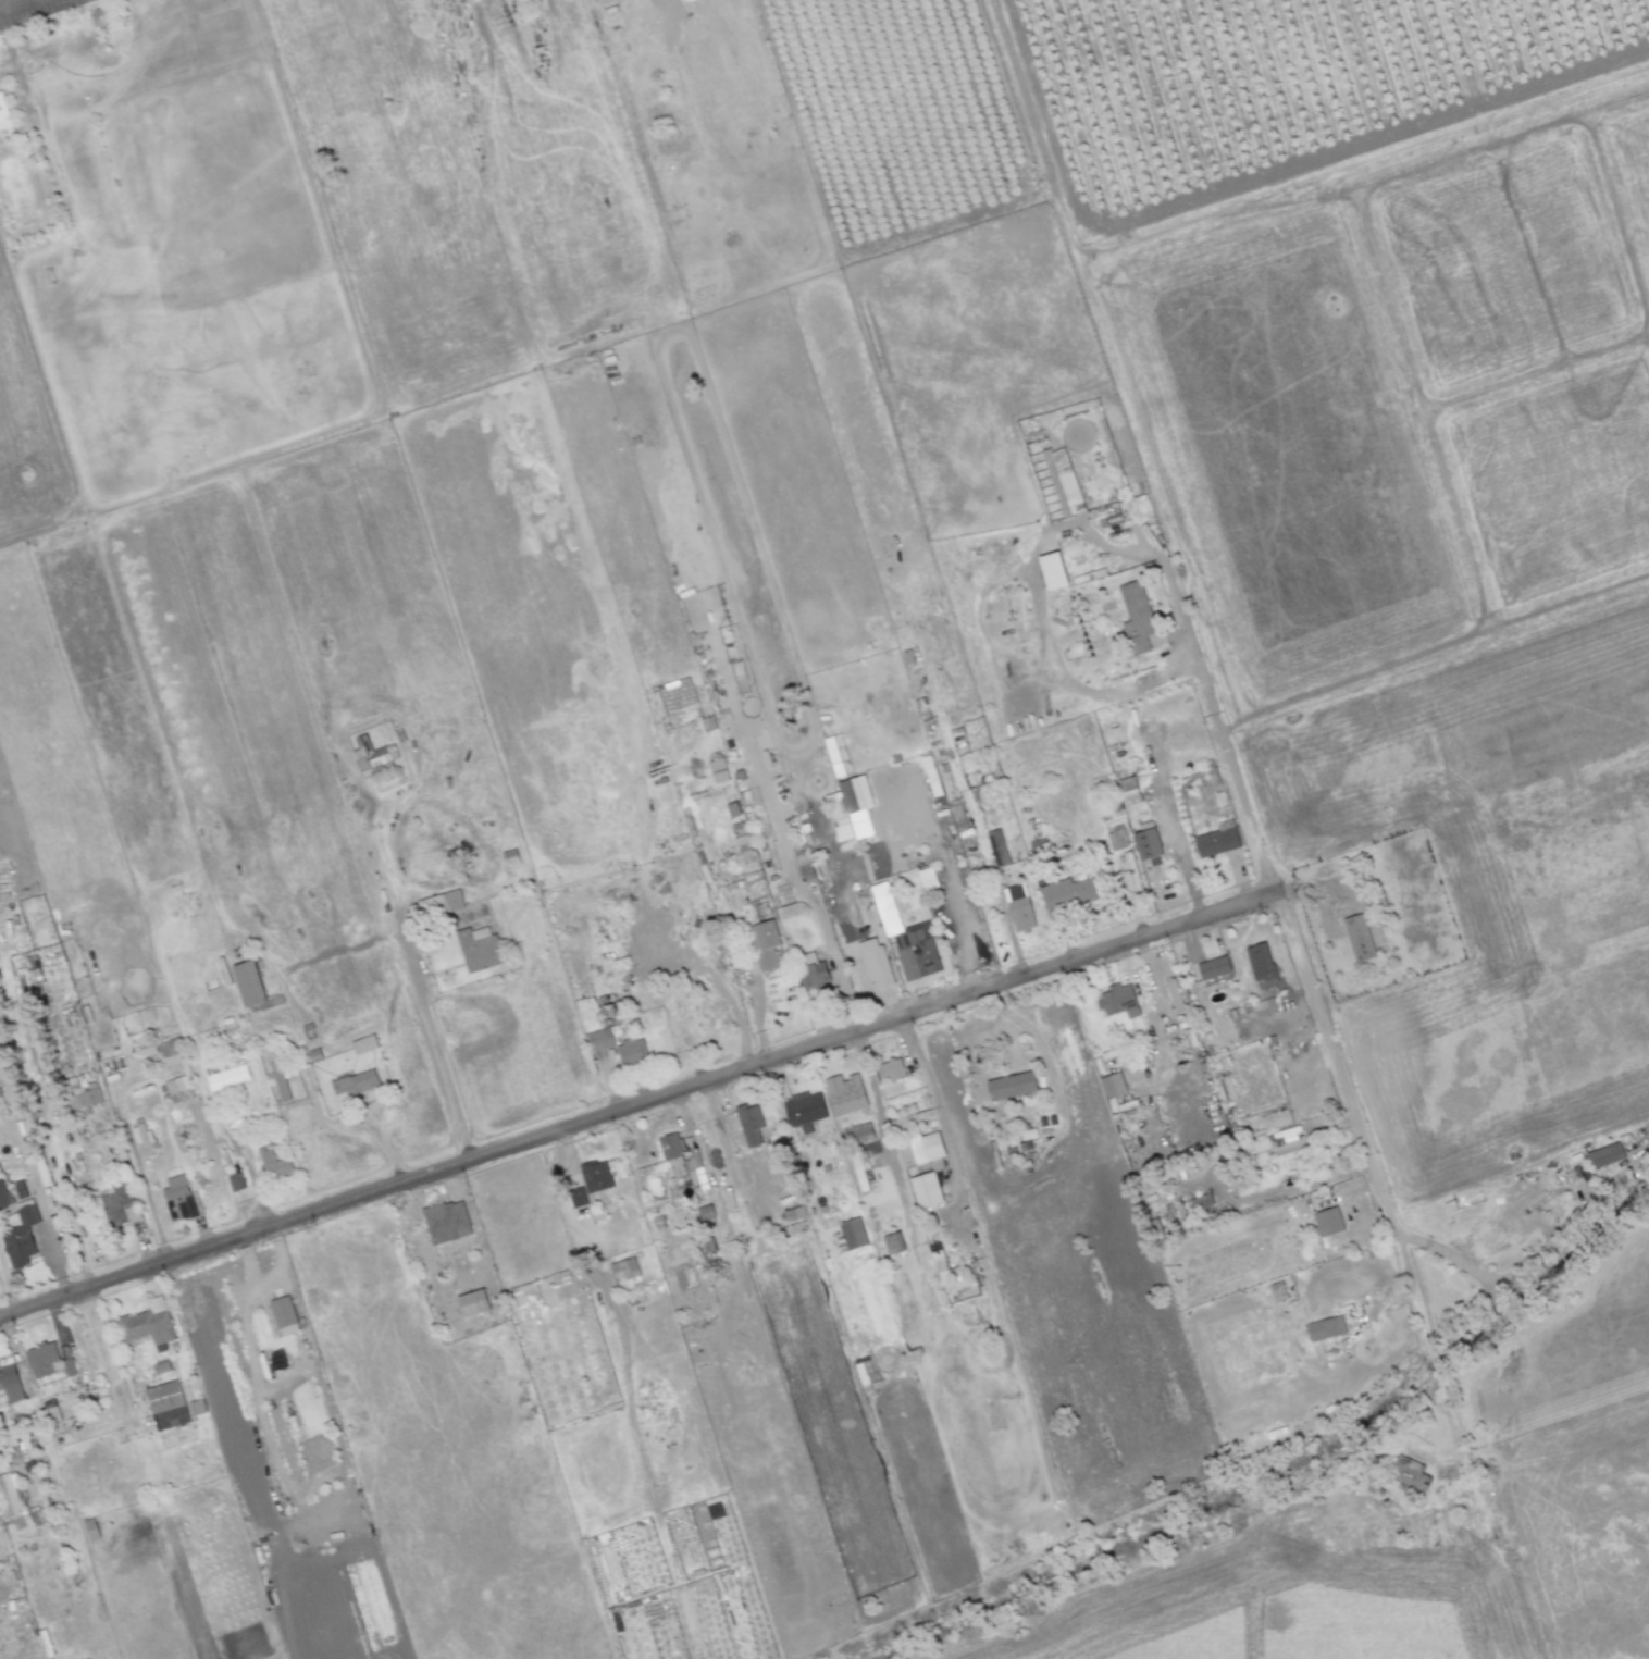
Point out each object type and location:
road: (15, 4)
railway: (1595, 280)
building: (1063, 481)
building: (1053, 571)
building: (1136, 617)
road: (1217, 730)
building: (377, 758)
building: (718, 770)
building: (1128, 791)
building: (861, 807)
building: (1124, 837)
building: (1115, 841)
building: (1218, 842)
building: (743, 846)
building: (1148, 846)
building: (1000, 850)
building: (1168, 853)
building: (1132, 876)
building: (927, 879)
road: (949, 884)
road: (801, 890)
building: (1068, 895)
building: (1377, 903)
building: (441, 904)
building: (1020, 909)
building: (1361, 941)
building: (766, 946)
building: (921, 953)
building: (480, 954)
building: (1262, 964)
building: (1215, 969)
building: (872, 970)
building: (814, 974)
building: (248, 983)
building: (1174, 995)
building: (1118, 1001)
building: (1266, 1010)
road: (1277, 1025)
building: (599, 1039)
building: (363, 1044)
road: (1040, 1045)
building: (174, 1049)
building: (631, 1052)
road: (442, 1067)
building: (893, 1070)
building: (234, 1080)
building: (355, 1082)
building: (1113, 1085)
building: (1013, 1089)
building: (183, 1092)
building: (845, 1093)
building: (83, 1099)
building: (4, 1103)
road: (638, 1106)
building: (808, 1114)
building: (749, 1128)
building: (858, 1134)
building: (1288, 1143)
building: (148, 1146)
building: (671, 1149)
building: (1604, 1155)
building: (915, 1156)
building: (280, 1167)
building: (861, 1171)
building: (679, 1173)
building: (698, 1177)
building: (203, 1178)
building: (597, 1178)
building: (241, 1185)
building: (926, 1190)
building: (731, 1196)
road: (1270, 1196)
building: (7, 1198)
building: (579, 1200)
building: (182, 1201)
building: (125, 1206)
road: (42, 1210)
road: (1387, 1211)
building: (795, 1216)
building: (450, 1222)
building: (1327, 1222)
building: (853, 1234)
building: (26, 1239)
building: (940, 1267)
building: (625, 1272)
building: (478, 1302)
building: (288, 1311)
building: (148, 1324)
building: (1325, 1328)
building: (59, 1358)
building: (11, 1374)
building: (166, 1406)
building: (23, 1503)
building: (97, 1528)

